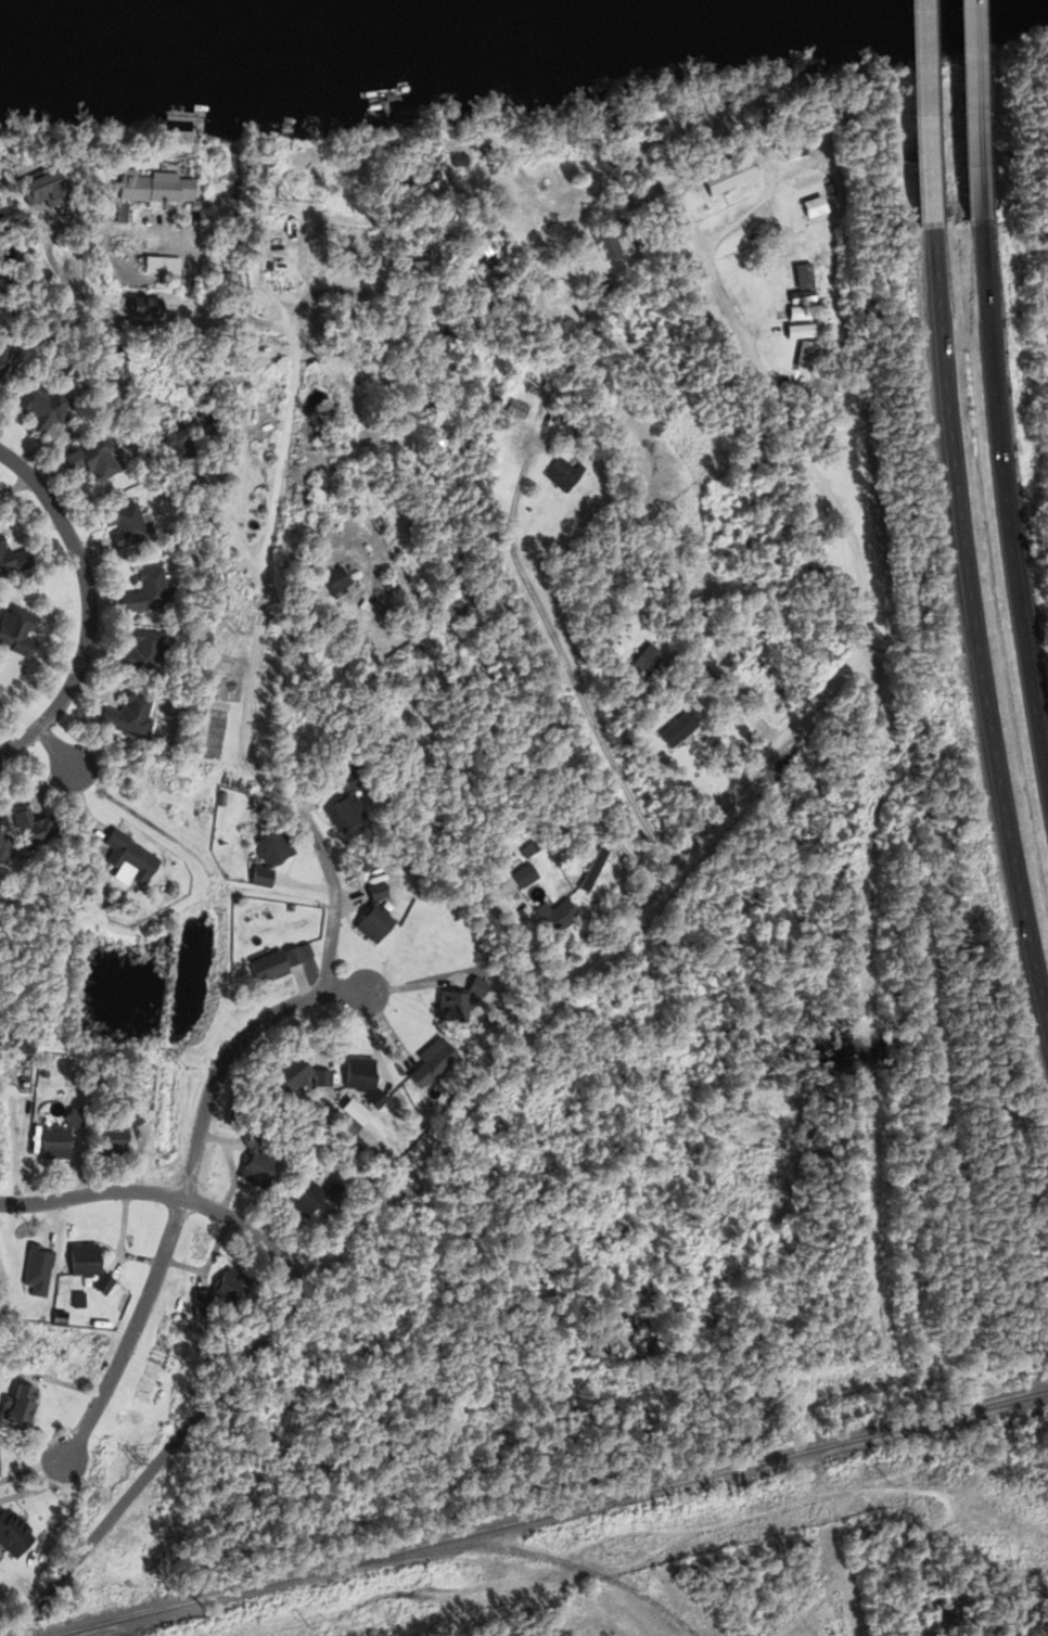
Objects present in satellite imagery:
road: (921, 108)
road: (970, 119)
building: (790, 153)
building: (725, 175)
building: (39, 188)
building: (152, 188)
power tower: (306, 190)
building: (419, 193)
building: (808, 212)
building: (604, 241)
building: (417, 265)
building: (482, 273)
building: (140, 307)
road: (137, 323)
building: (39, 408)
building: (514, 410)
road: (777, 410)
building: (361, 449)
building: (89, 459)
building: (565, 466)
road: (637, 491)
road: (215, 516)
road: (1002, 524)
building: (124, 528)
building: (12, 562)
road: (261, 562)
building: (327, 586)
building: (146, 591)
road: (469, 601)
road: (86, 605)
building: (14, 632)
power tower: (242, 635)
road: (974, 637)
building: (142, 650)
building: (644, 660)
road: (562, 663)
building: (127, 716)
building: (676, 730)
road: (56, 750)
building: (344, 804)
building: (33, 831)
building: (271, 847)
building: (2, 848)
building: (127, 859)
road: (327, 870)
building: (590, 871)
building: (559, 916)
building: (371, 920)
building: (271, 963)
building: (449, 1008)
building: (429, 1064)
power tower: (186, 1070)
building: (359, 1075)
building: (290, 1076)
building: (54, 1140)
building: (106, 1142)
road: (431, 1142)
building: (253, 1165)
road: (184, 1189)
road: (166, 1194)
building: (306, 1198)
building: (80, 1262)
building: (227, 1288)
building: (15, 1409)
power tower: (893, 1483)
railway: (547, 1513)
building: (11, 1538)
railway: (513, 1551)
power tower: (603, 1551)
power tower: (307, 1627)

